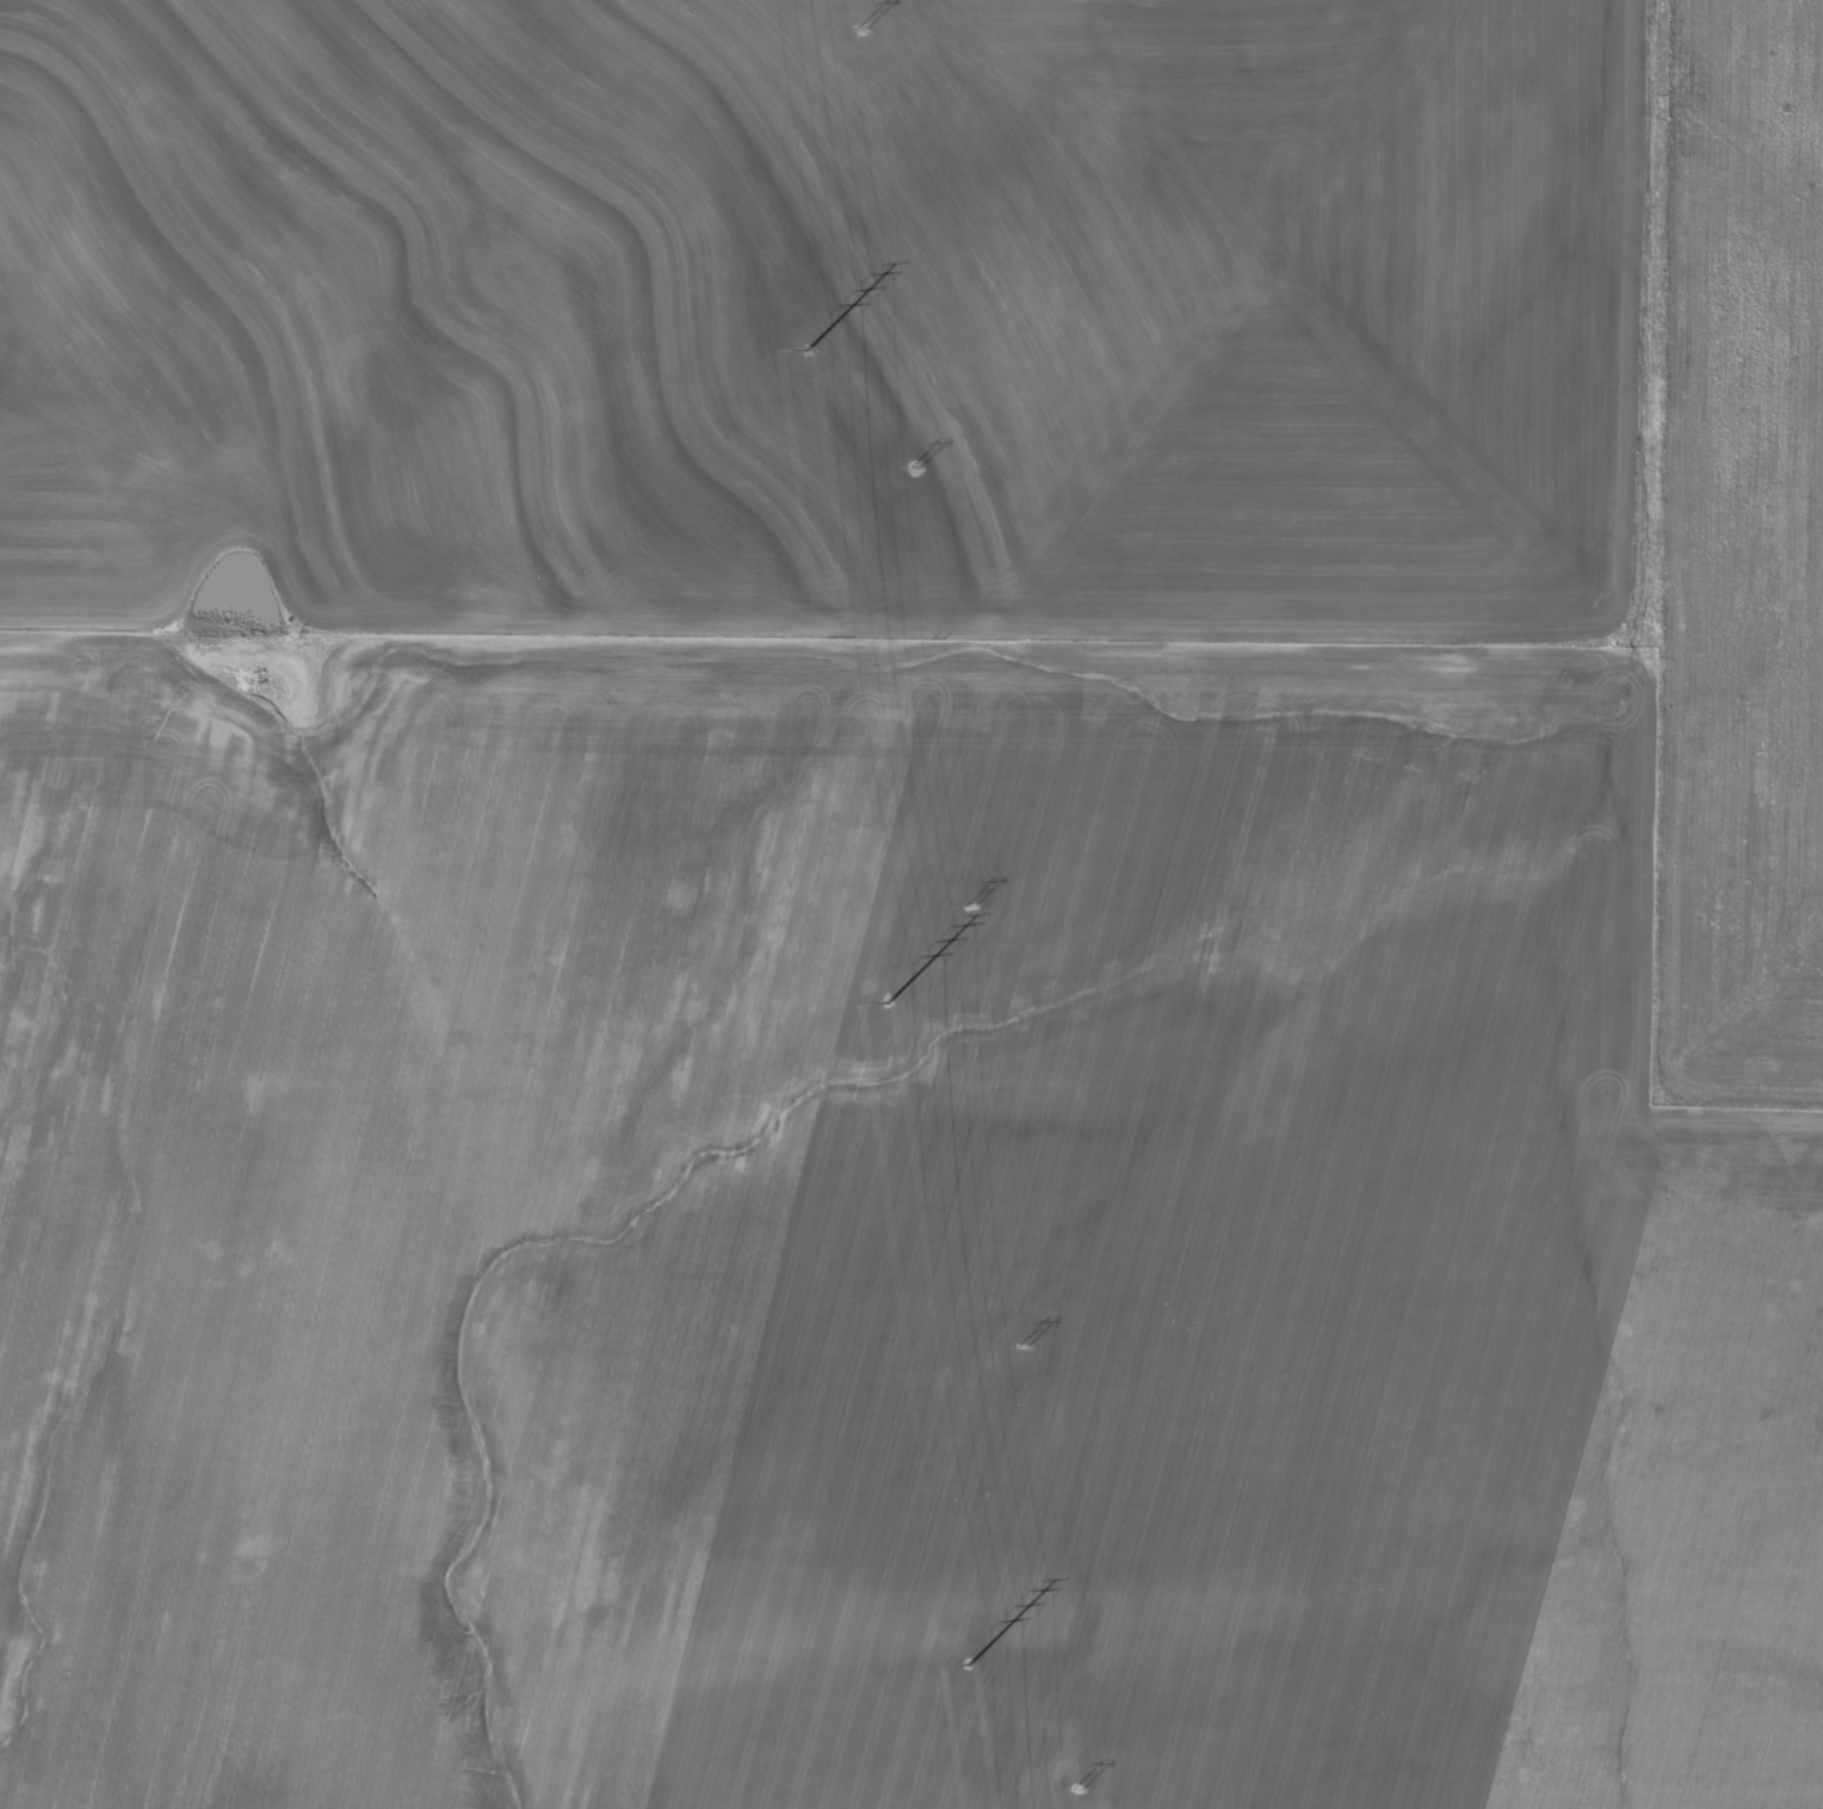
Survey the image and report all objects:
power tower: (860, 26)
power tower: (808, 351)
power tower: (915, 465)
power tower: (969, 906)
power tower: (889, 1002)
power tower: (1022, 1346)
power tower: (969, 1663)
power tower: (1076, 1788)

